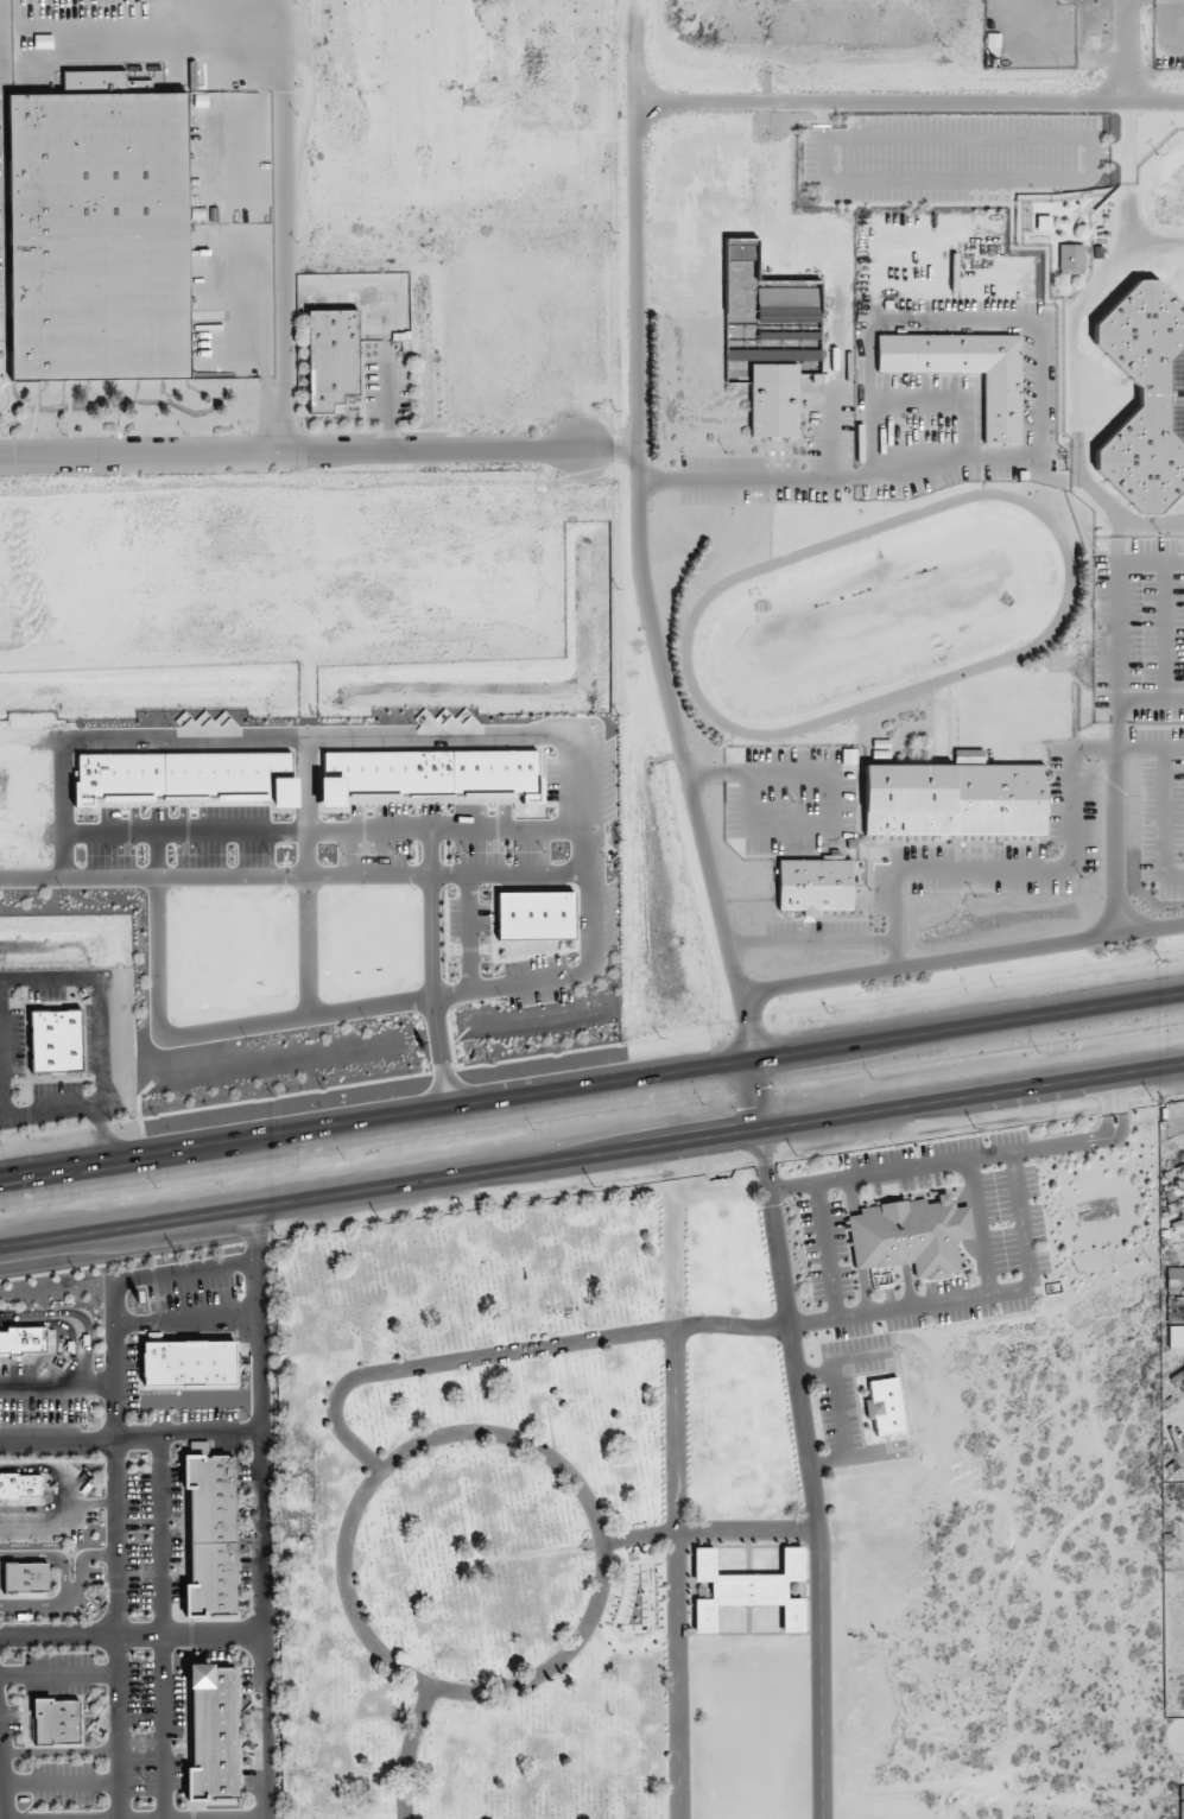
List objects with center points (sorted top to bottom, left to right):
road: (907, 104)
road: (281, 205)
building: (97, 232)
building: (1071, 259)
road: (249, 325)
building: (768, 337)
building: (331, 357)
building: (967, 372)
building: (1147, 391)
road: (944, 401)
road: (1036, 430)
road: (276, 431)
road: (830, 431)
road: (317, 455)
road: (638, 545)
road: (1148, 564)
road: (1164, 632)
road: (1148, 699)
road: (1115, 750)
road: (1126, 750)
building: (426, 774)
building: (954, 799)
road: (1163, 809)
road: (988, 873)
road: (329, 883)
building: (815, 886)
building: (534, 915)
road: (809, 940)
road: (961, 962)
road: (99, 993)
building: (55, 1041)
road: (591, 1086)
road: (760, 1096)
road: (18, 1115)
road: (5, 1117)
road: (103, 1132)
road: (591, 1156)
building: (1173, 1192)
building: (1174, 1206)
building: (1177, 1223)
building: (910, 1236)
road: (162, 1273)
building: (1174, 1279)
building: (1174, 1310)
road: (63, 1324)
building: (1176, 1336)
building: (27, 1341)
building: (188, 1364)
building: (1177, 1378)
building: (885, 1406)
road: (118, 1412)
building: (1177, 1413)
road: (672, 1482)
building: (20, 1487)
park: (590, 1503)
building: (211, 1535)
building: (25, 1577)
building: (748, 1590)
building: (56, 1720)
building: (213, 1734)

